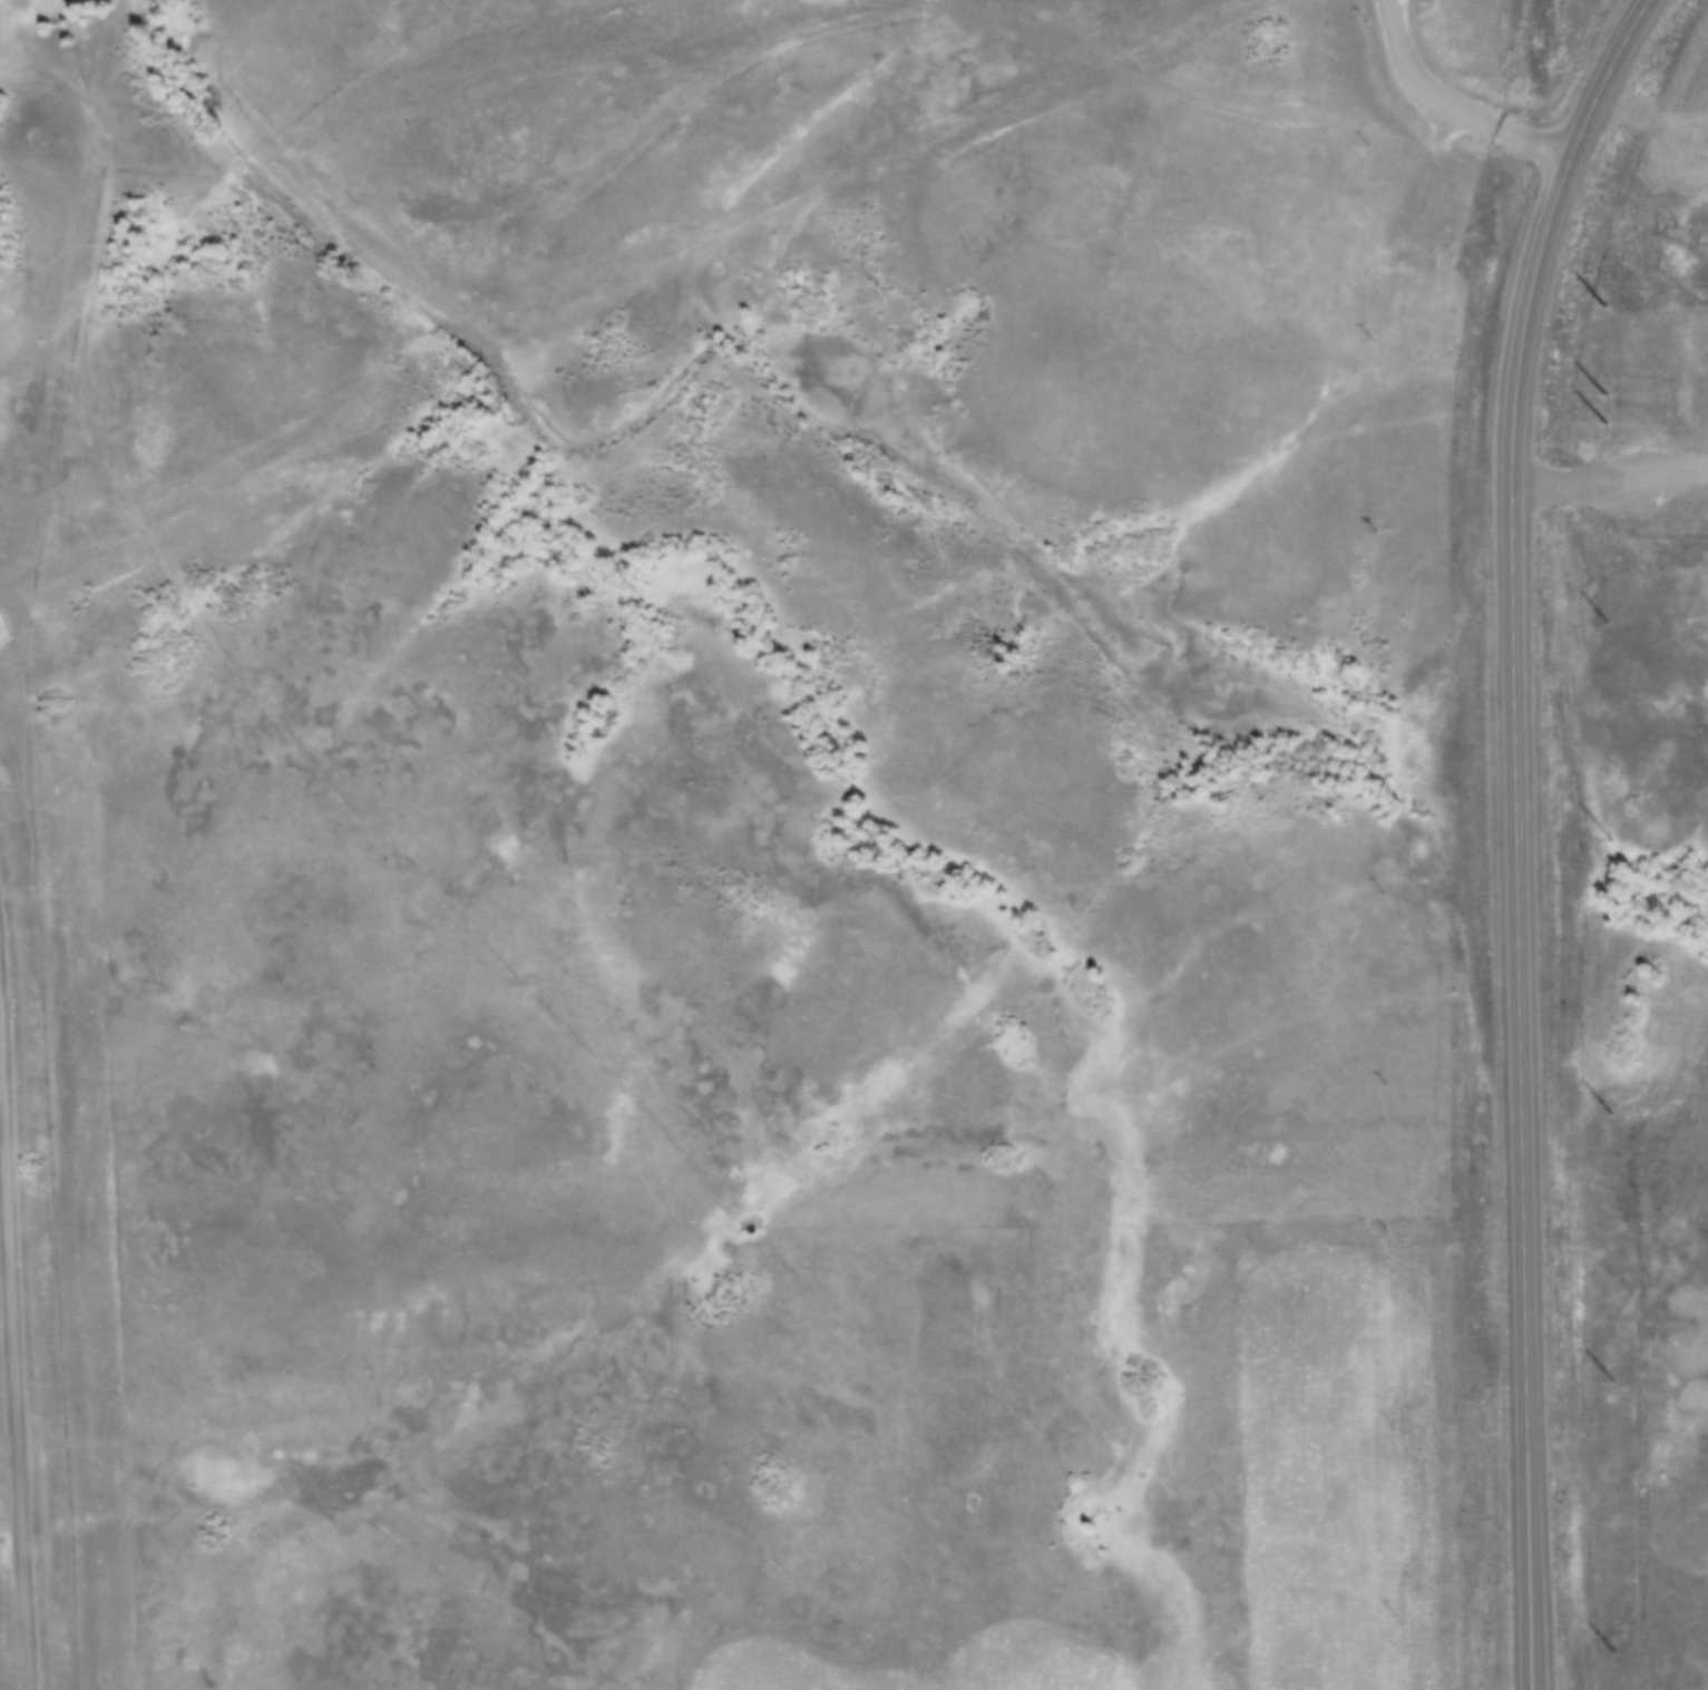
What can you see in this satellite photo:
road: (1203, 105)
road: (1421, 118)
road: (1539, 844)
road: (16, 1349)

